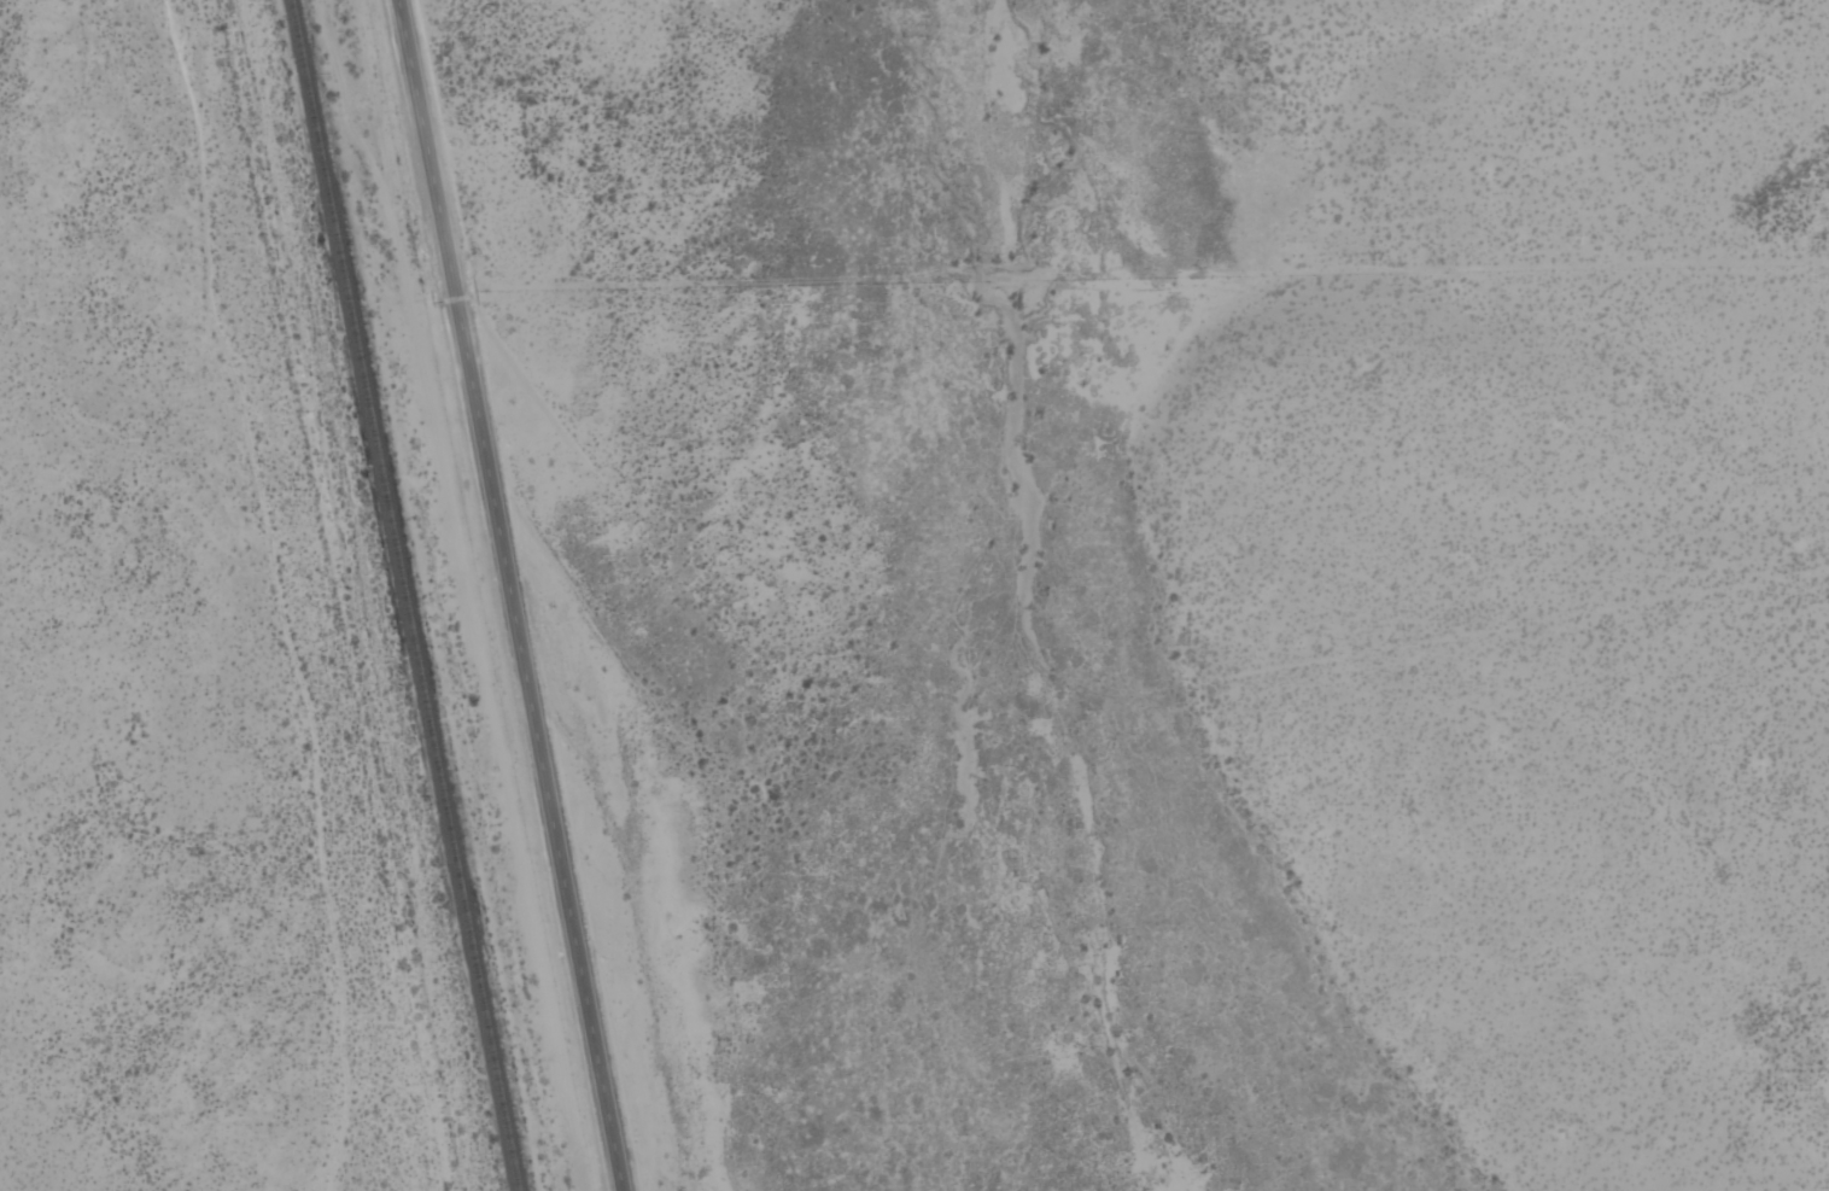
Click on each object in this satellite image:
road: (264, 592)
railway: (402, 595)
road: (504, 595)

